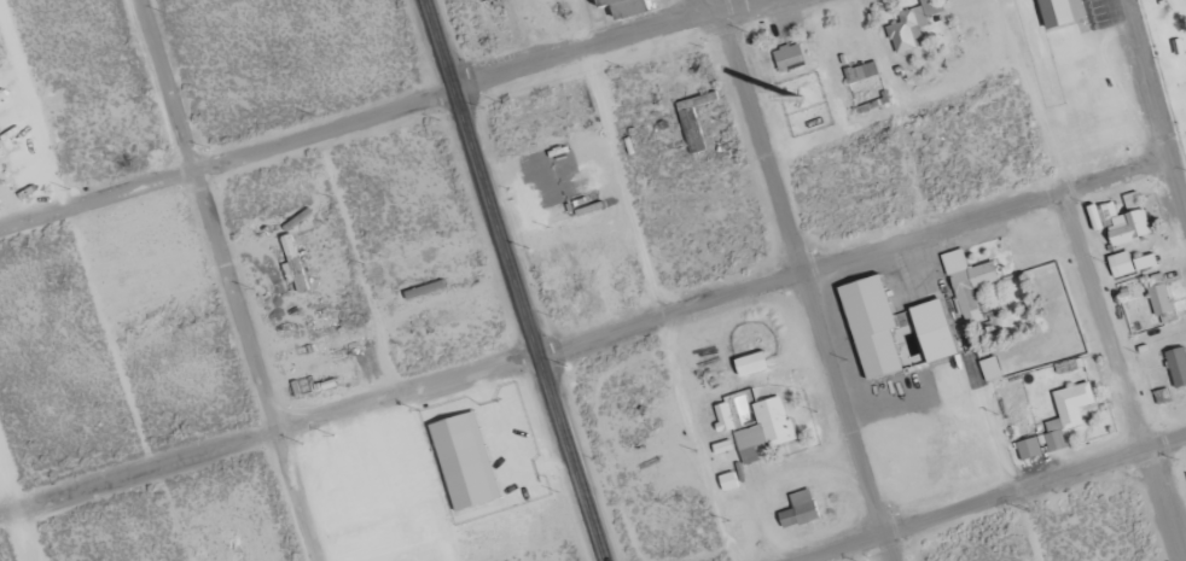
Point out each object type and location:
building: (630, 7)
building: (1064, 12)
building: (913, 27)
building: (791, 58)
building: (864, 74)
road: (1144, 77)
road: (897, 116)
road: (380, 117)
road: (1176, 188)
building: (1123, 220)
building: (295, 263)
building: (1133, 263)
road: (803, 277)
road: (1088, 279)
road: (227, 280)
road: (513, 280)
building: (971, 280)
building: (1164, 300)
road: (659, 308)
building: (876, 326)
building: (936, 331)
road: (585, 340)
building: (339, 341)
road: (110, 343)
road: (384, 349)
building: (754, 363)
building: (1178, 366)
building: (725, 417)
building: (1060, 421)
building: (762, 425)
building: (467, 461)
road: (996, 497)
road: (17, 510)
building: (802, 510)
road: (1024, 526)

